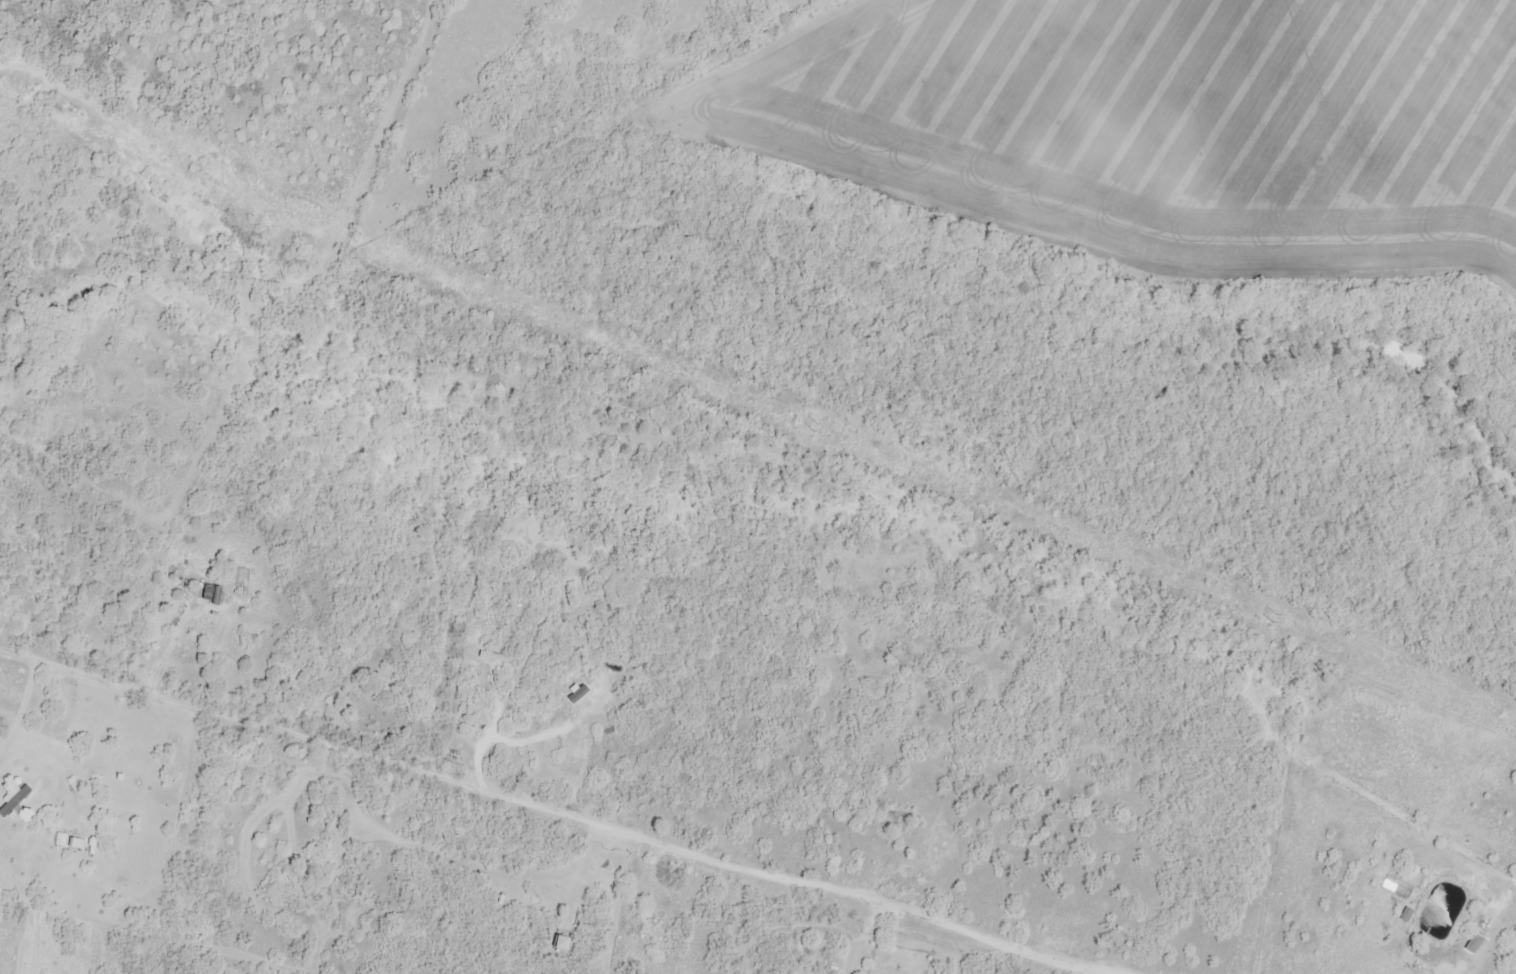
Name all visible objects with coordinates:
power tower: (358, 244)
power tower: (816, 427)
power tower: (1273, 618)
building: (89, 771)
road: (551, 807)
building: (650, 923)

